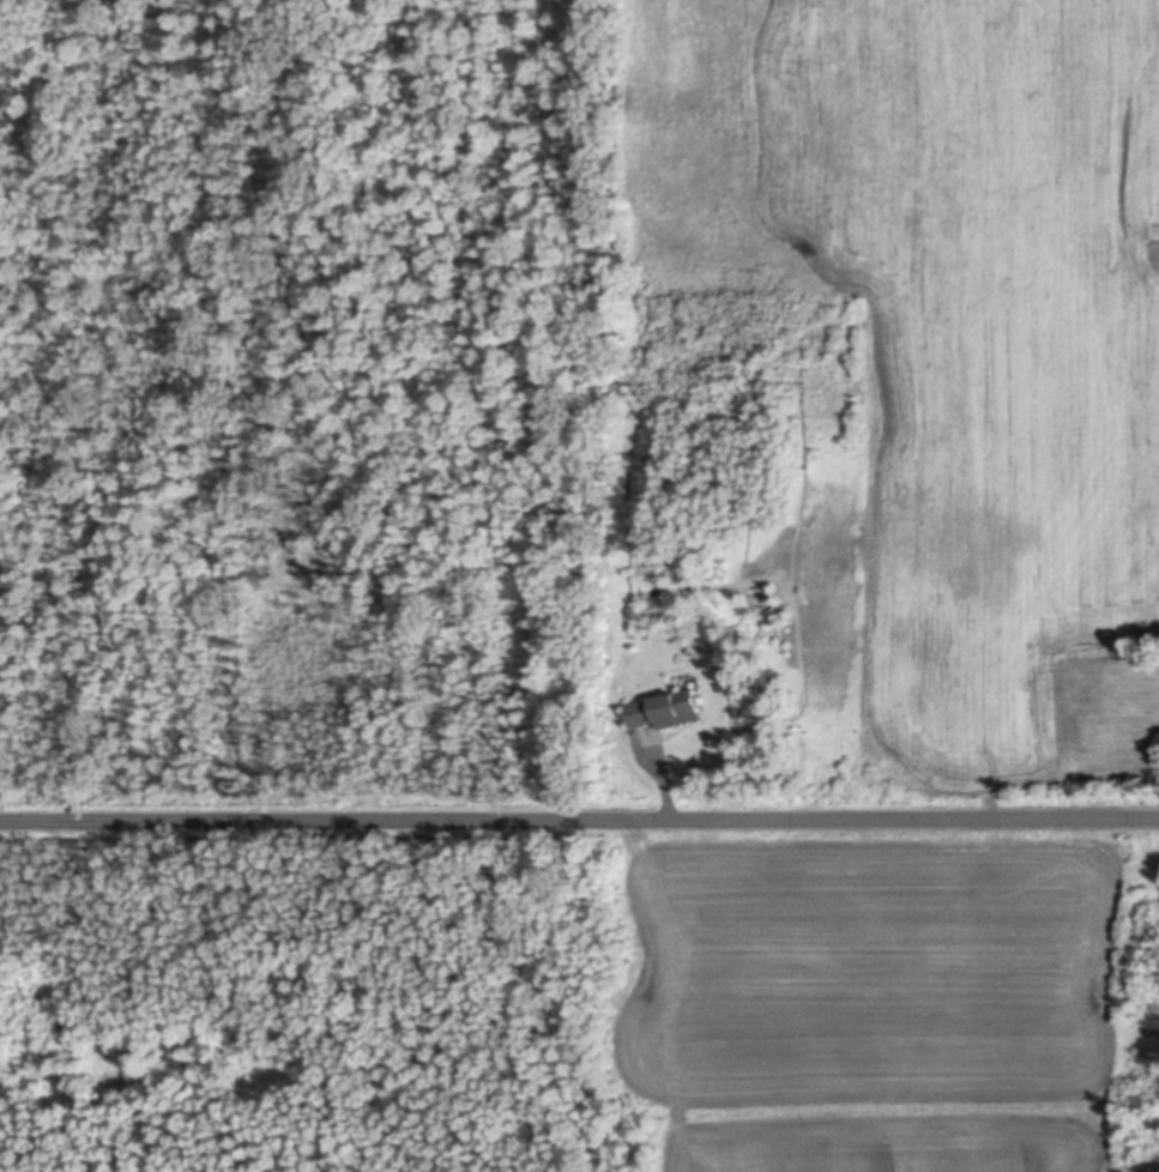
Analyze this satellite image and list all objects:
building: (660, 707)
road: (664, 783)
road: (579, 815)

